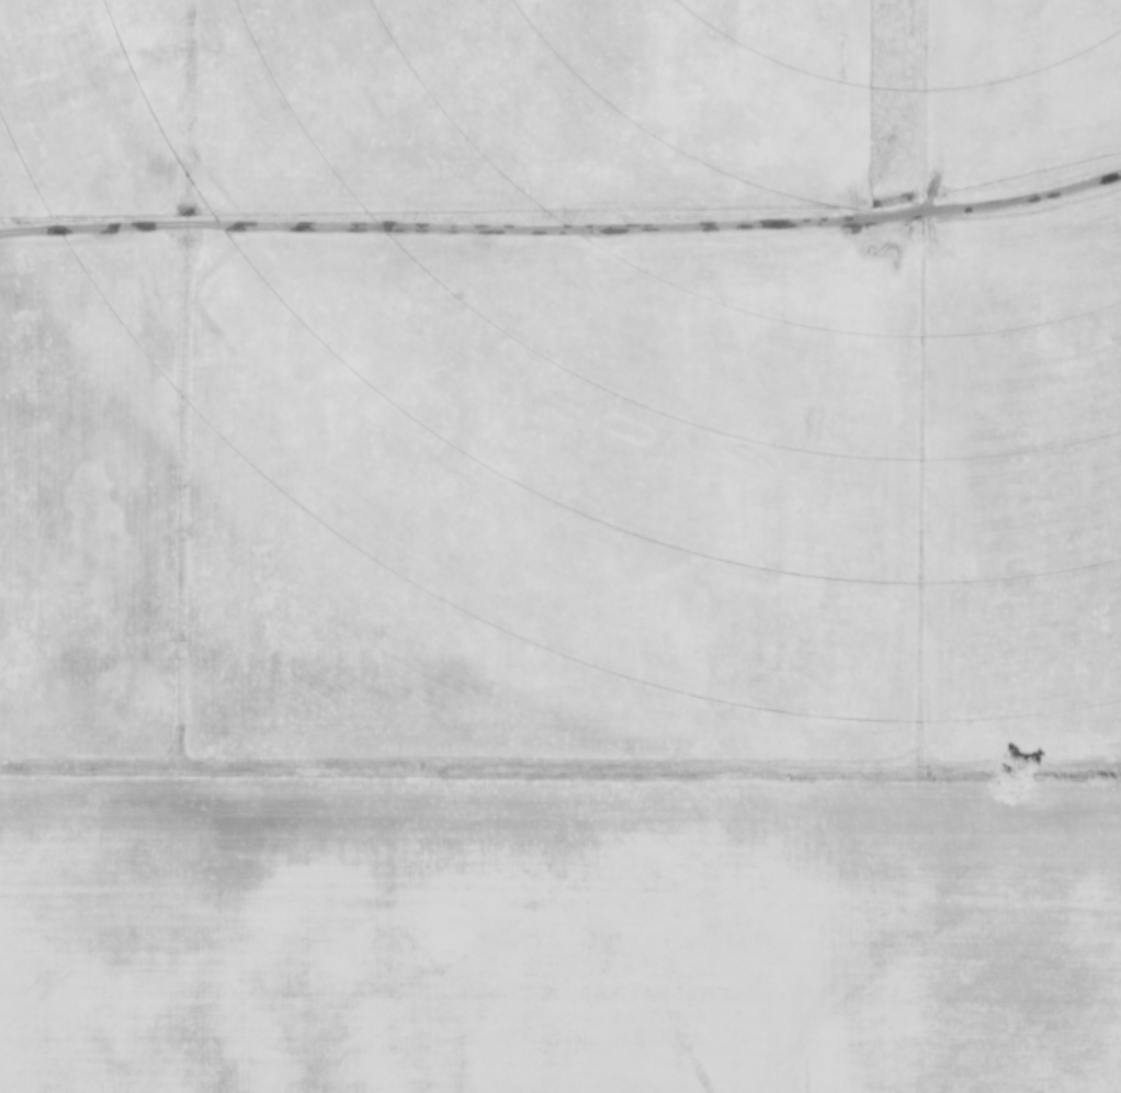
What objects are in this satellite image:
road: (562, 227)

